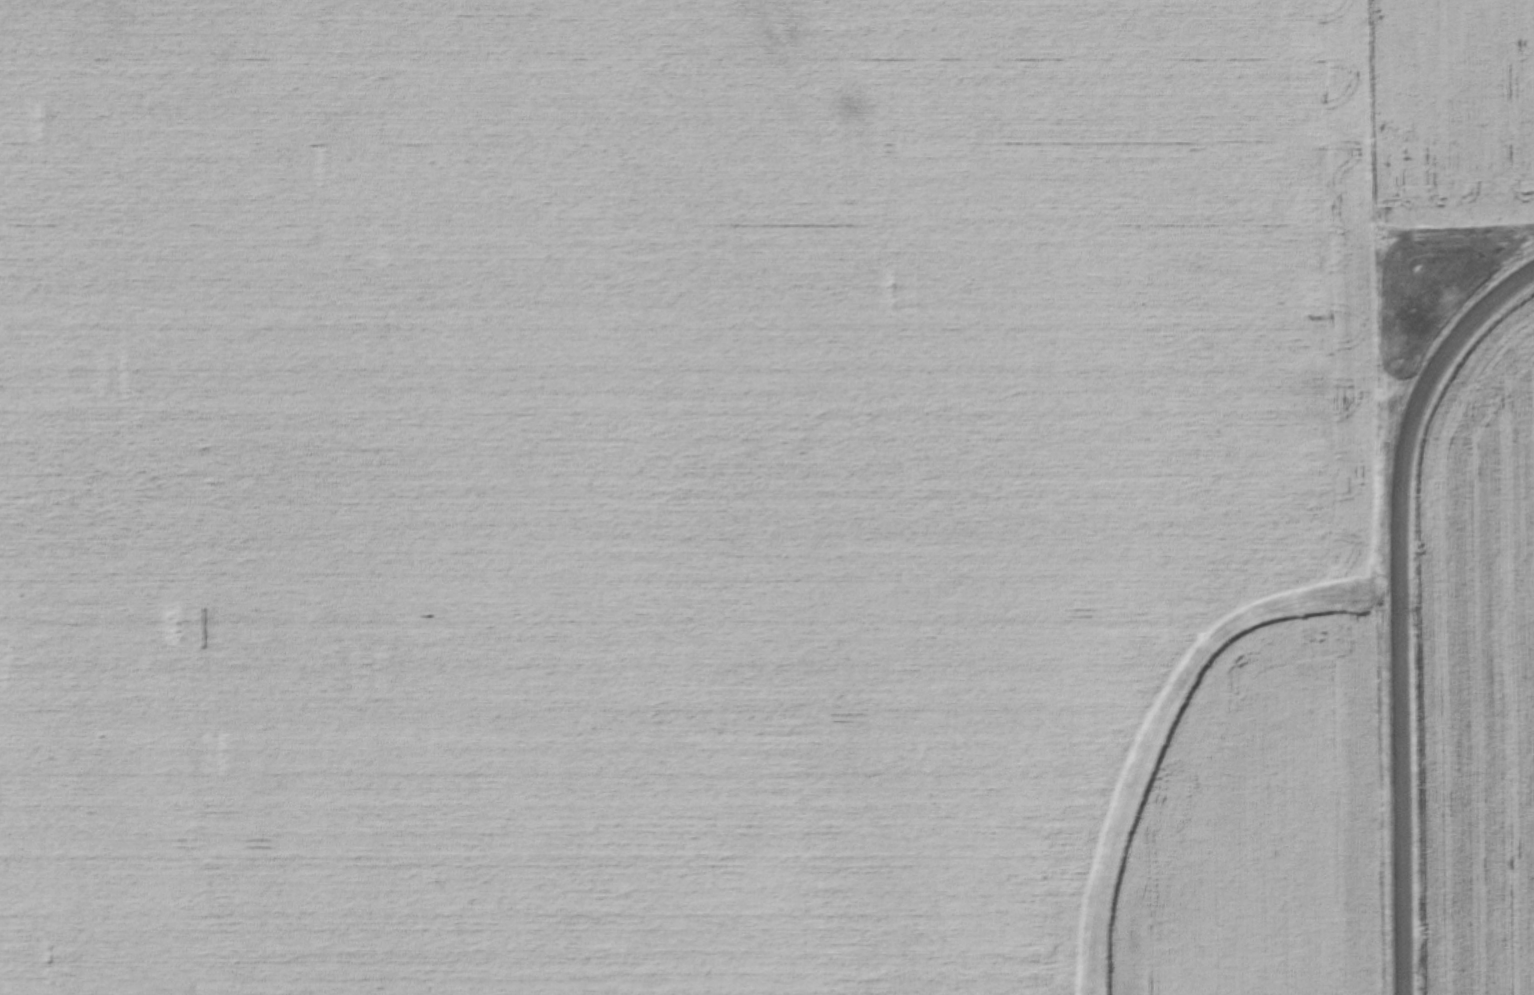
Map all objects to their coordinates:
road: (1398, 607)

